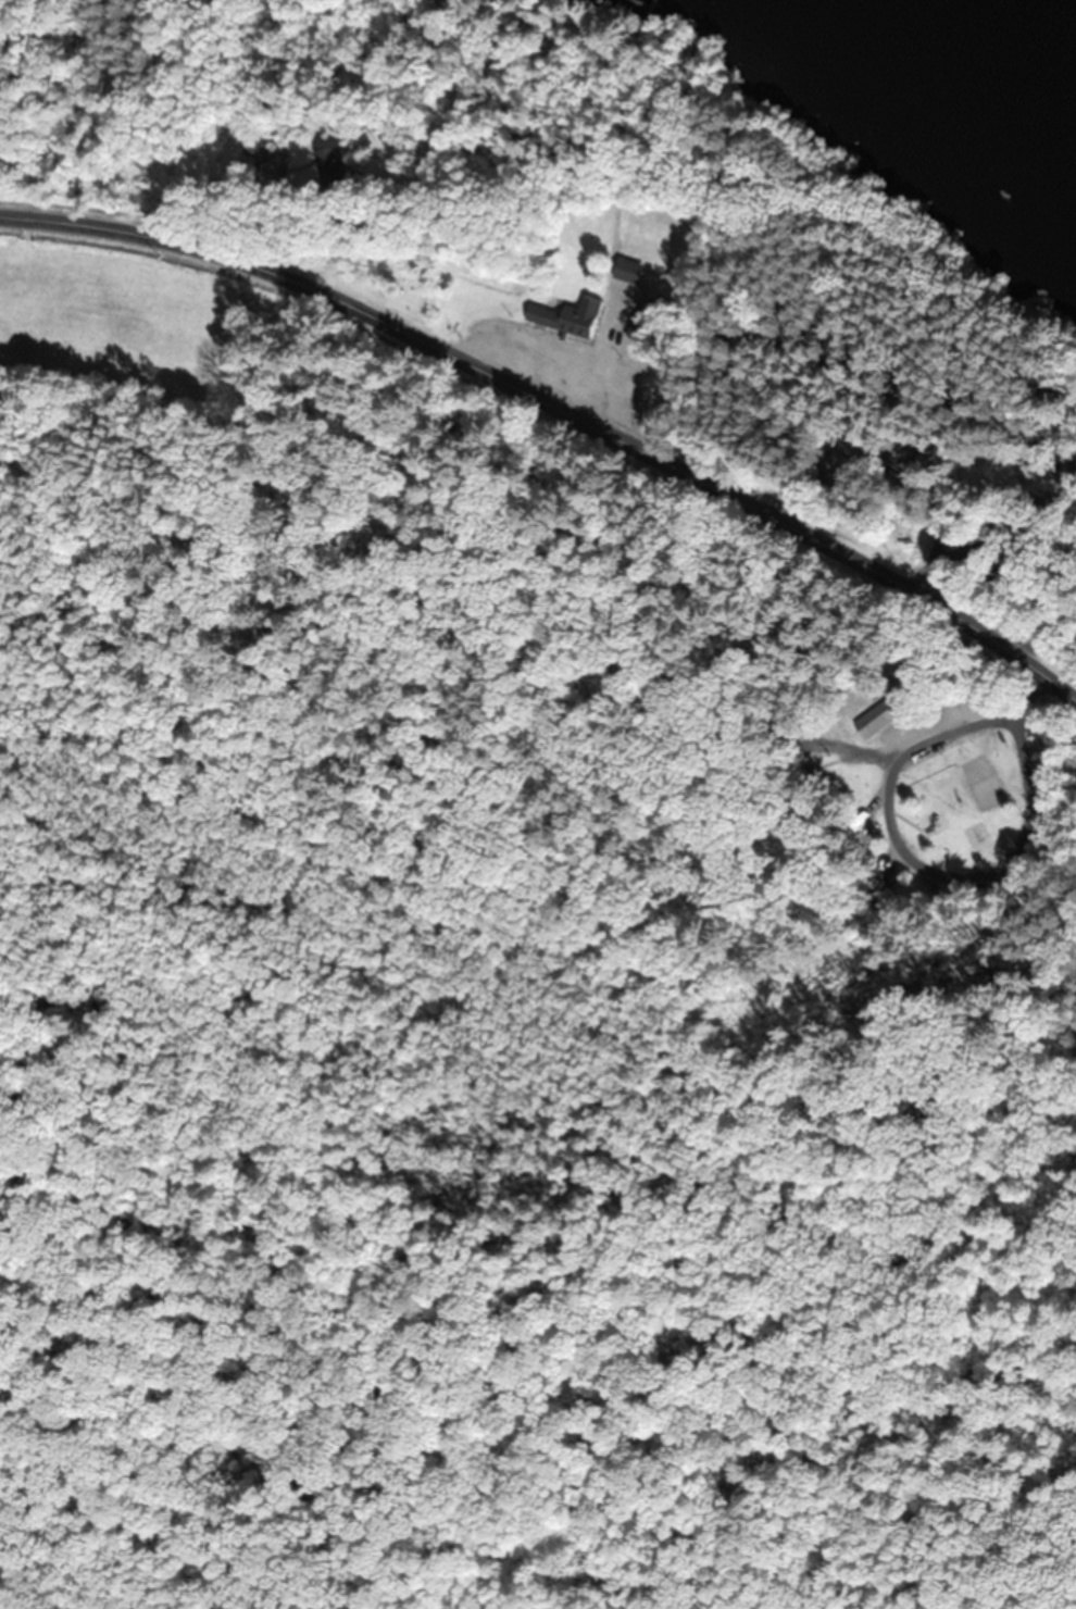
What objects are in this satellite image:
road: (58, 104)
building: (336, 164)
building: (625, 270)
building: (641, 314)
building: (564, 316)
road: (563, 390)
building: (840, 464)
building: (966, 465)
road: (1055, 481)
park: (743, 529)
road: (969, 535)
building: (877, 715)
building: (887, 881)

